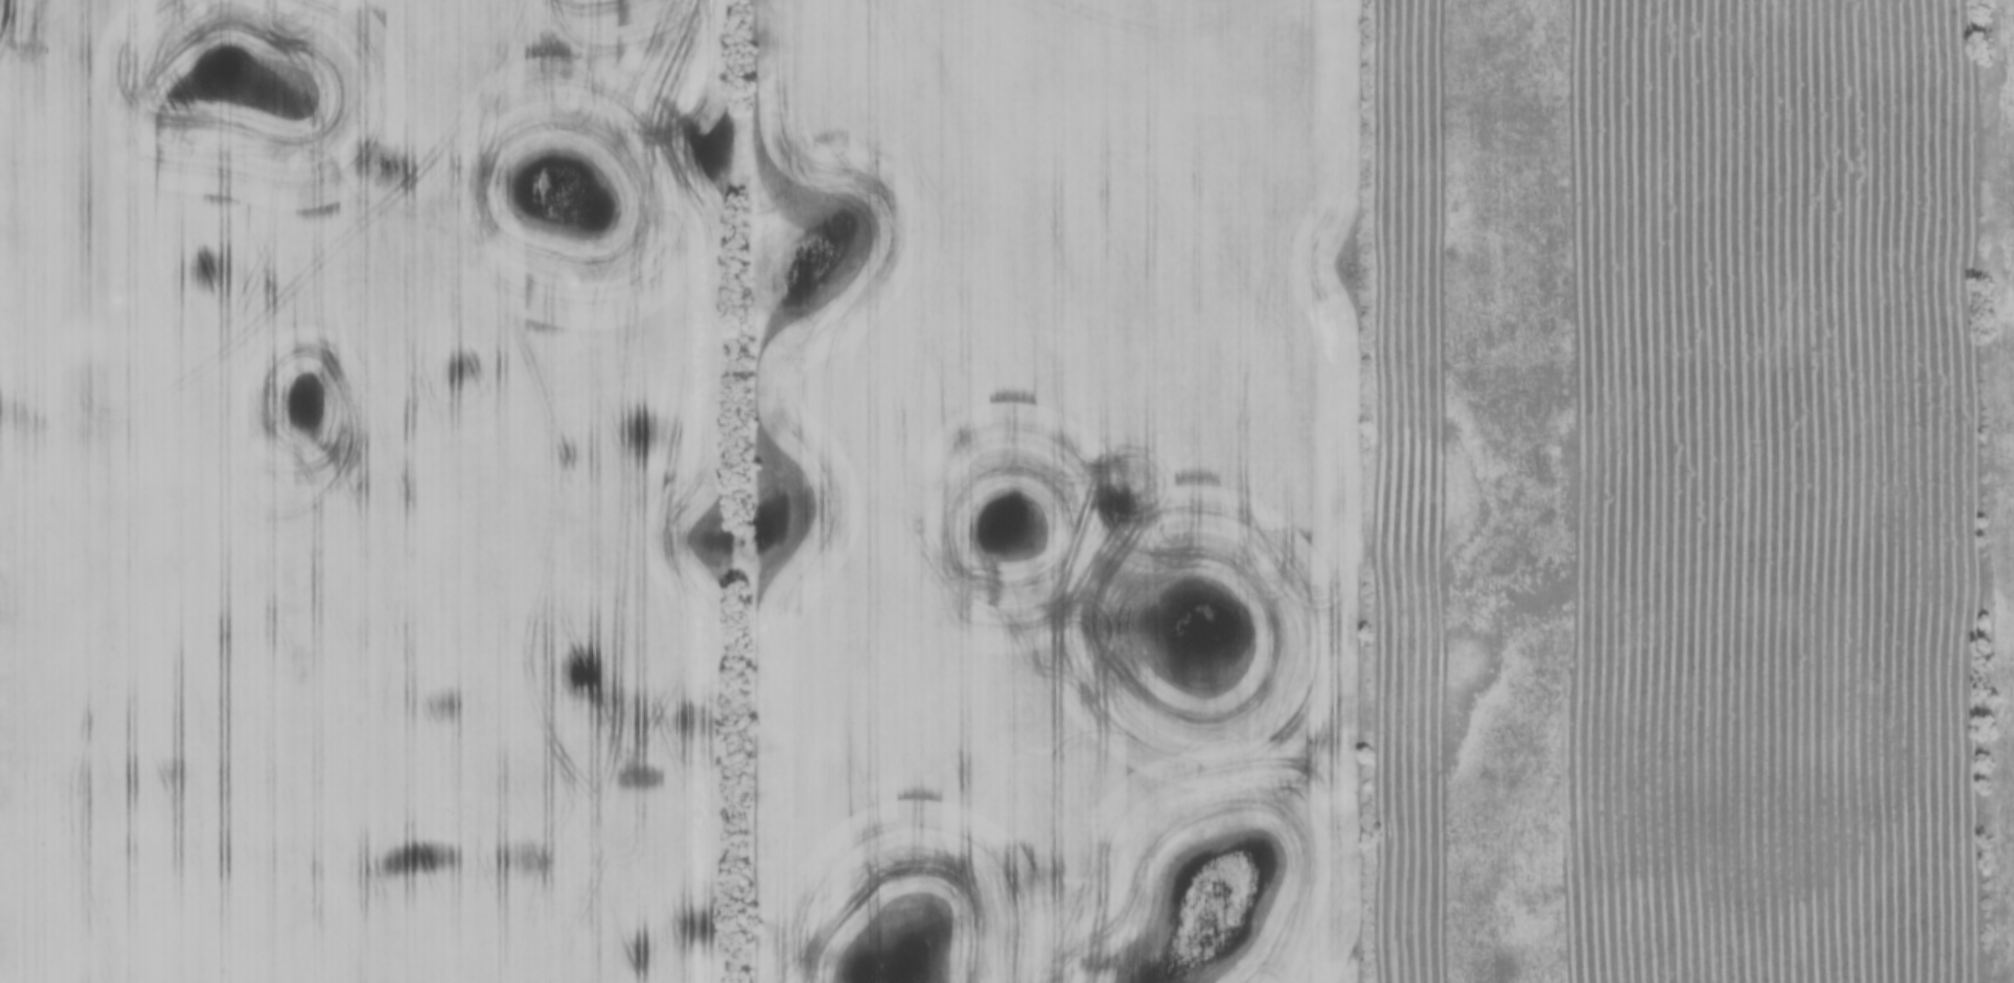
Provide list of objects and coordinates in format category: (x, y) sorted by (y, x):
road: (1982, 491)

